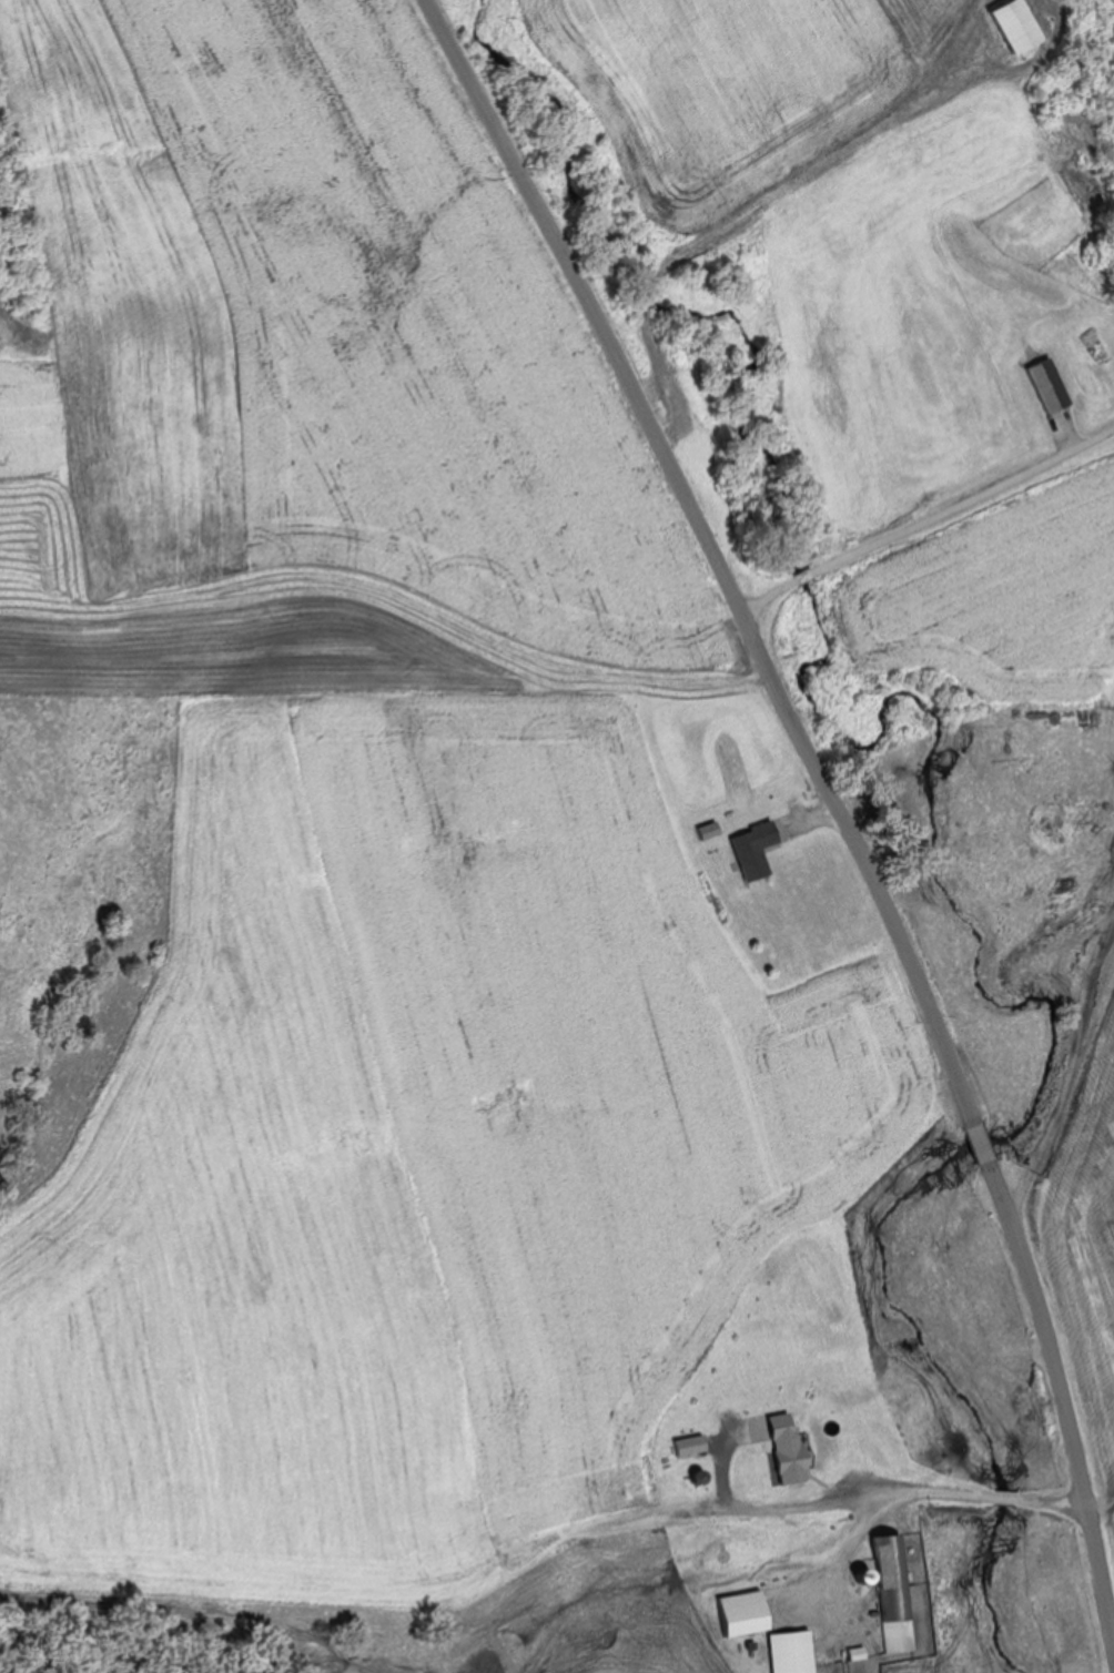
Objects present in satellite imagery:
road: (916, 509)
road: (817, 803)
building: (708, 829)
building: (753, 848)
building: (826, 1423)
building: (829, 1476)
road: (898, 1495)
building: (890, 1592)
building: (743, 1611)
building: (792, 1651)

